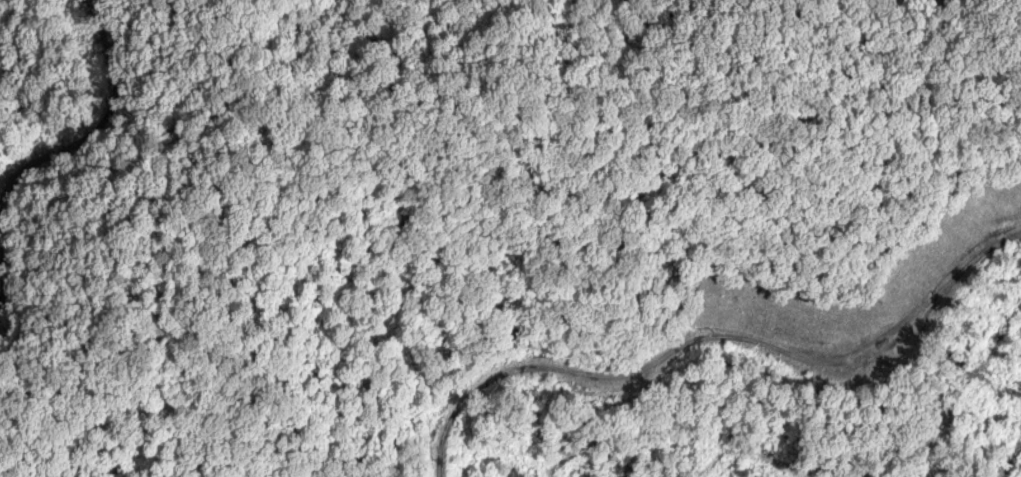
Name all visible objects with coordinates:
road: (99, 119)
road: (712, 339)

